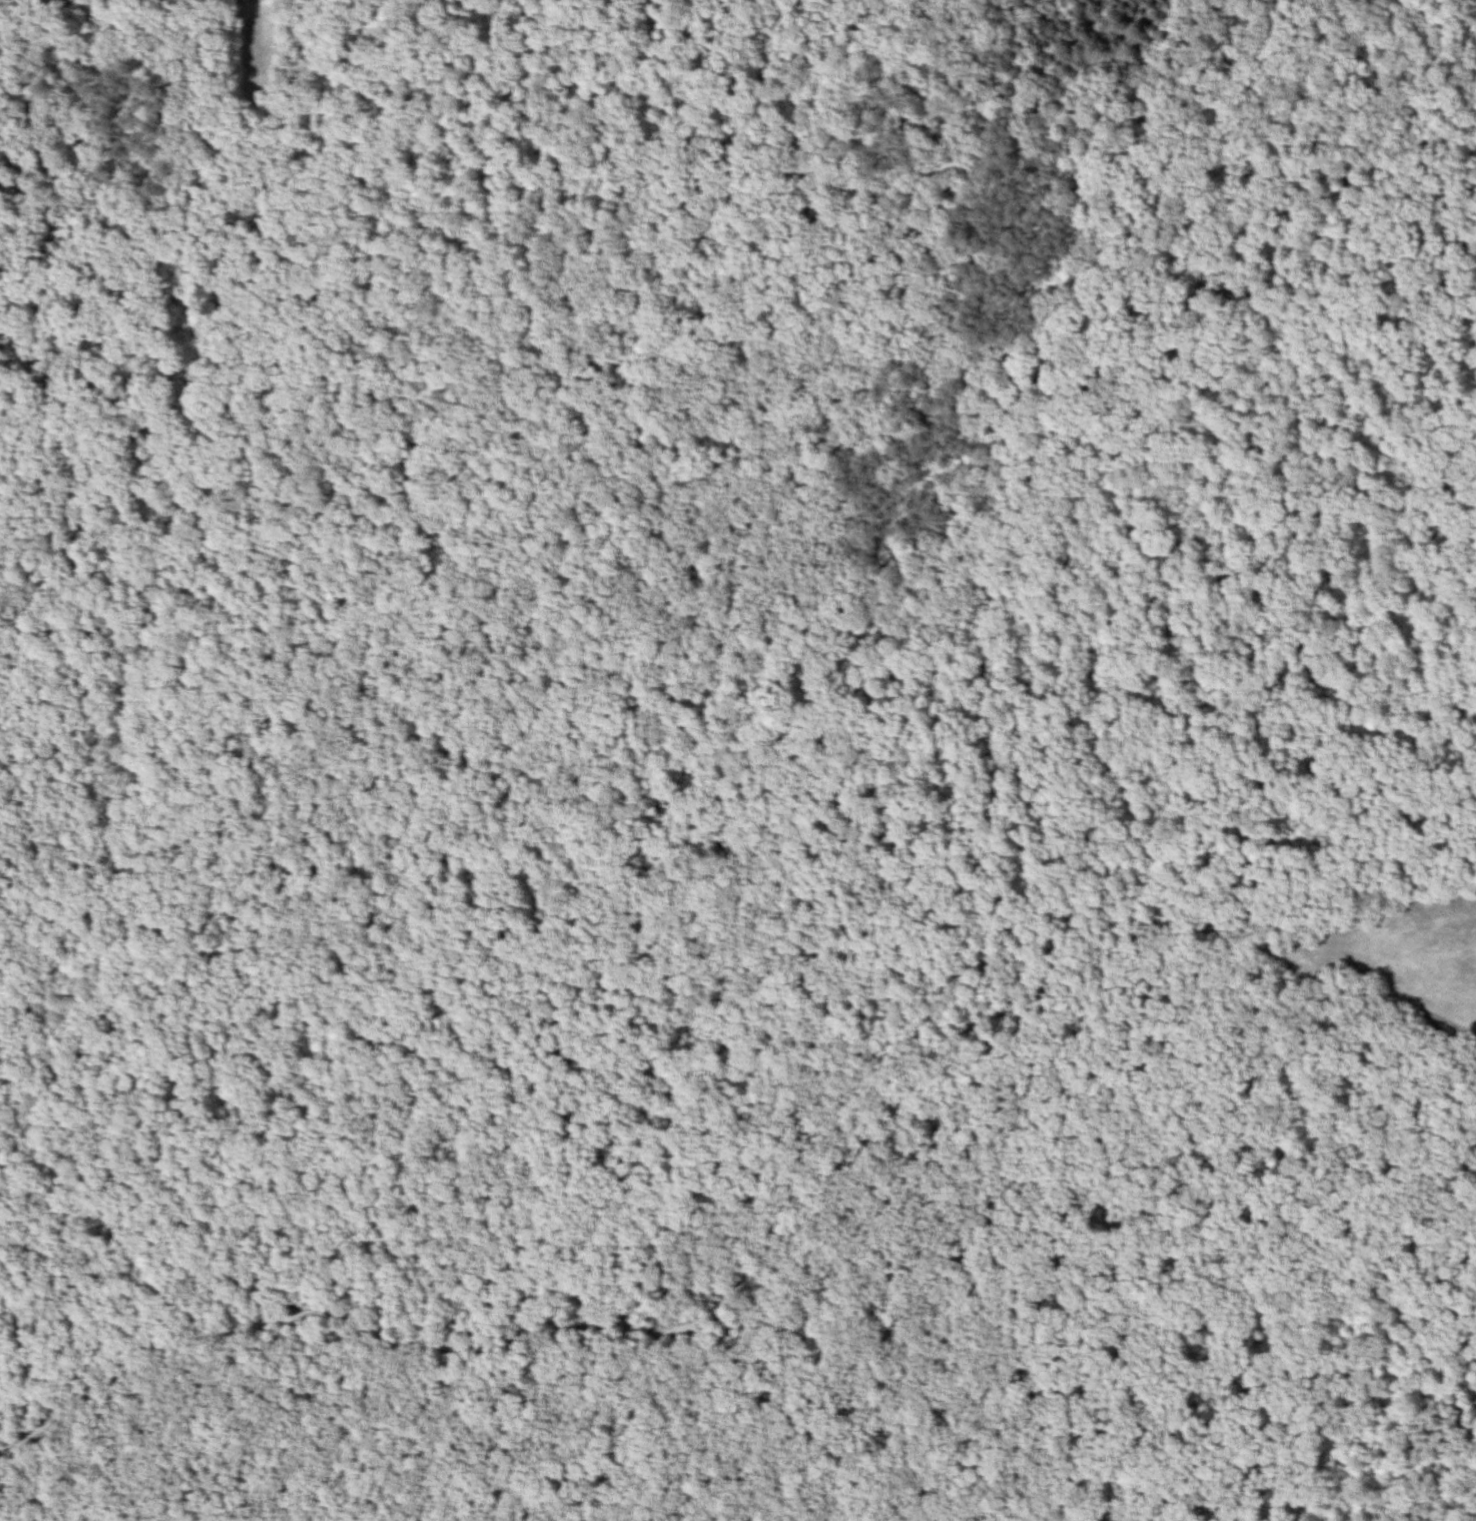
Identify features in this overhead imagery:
road: (42, 171)
road: (786, 1266)
road: (997, 1307)

